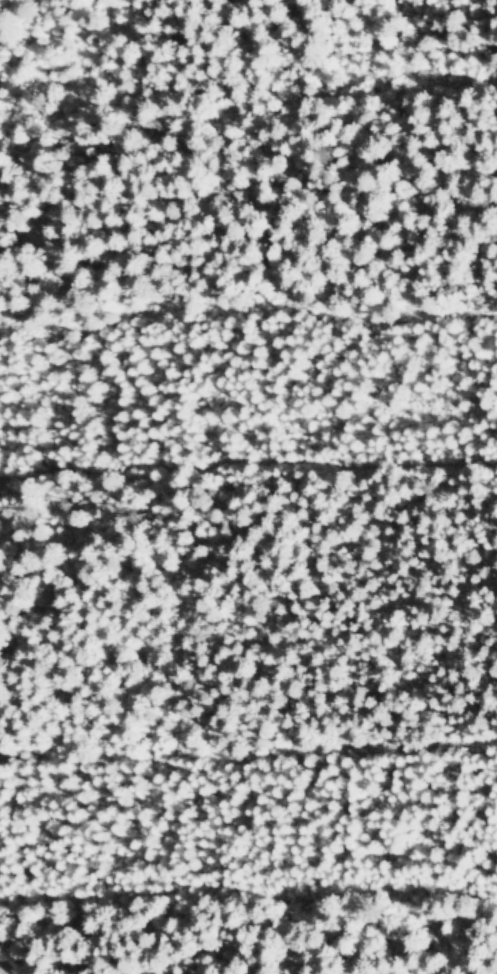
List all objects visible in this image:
road: (6, 968)

